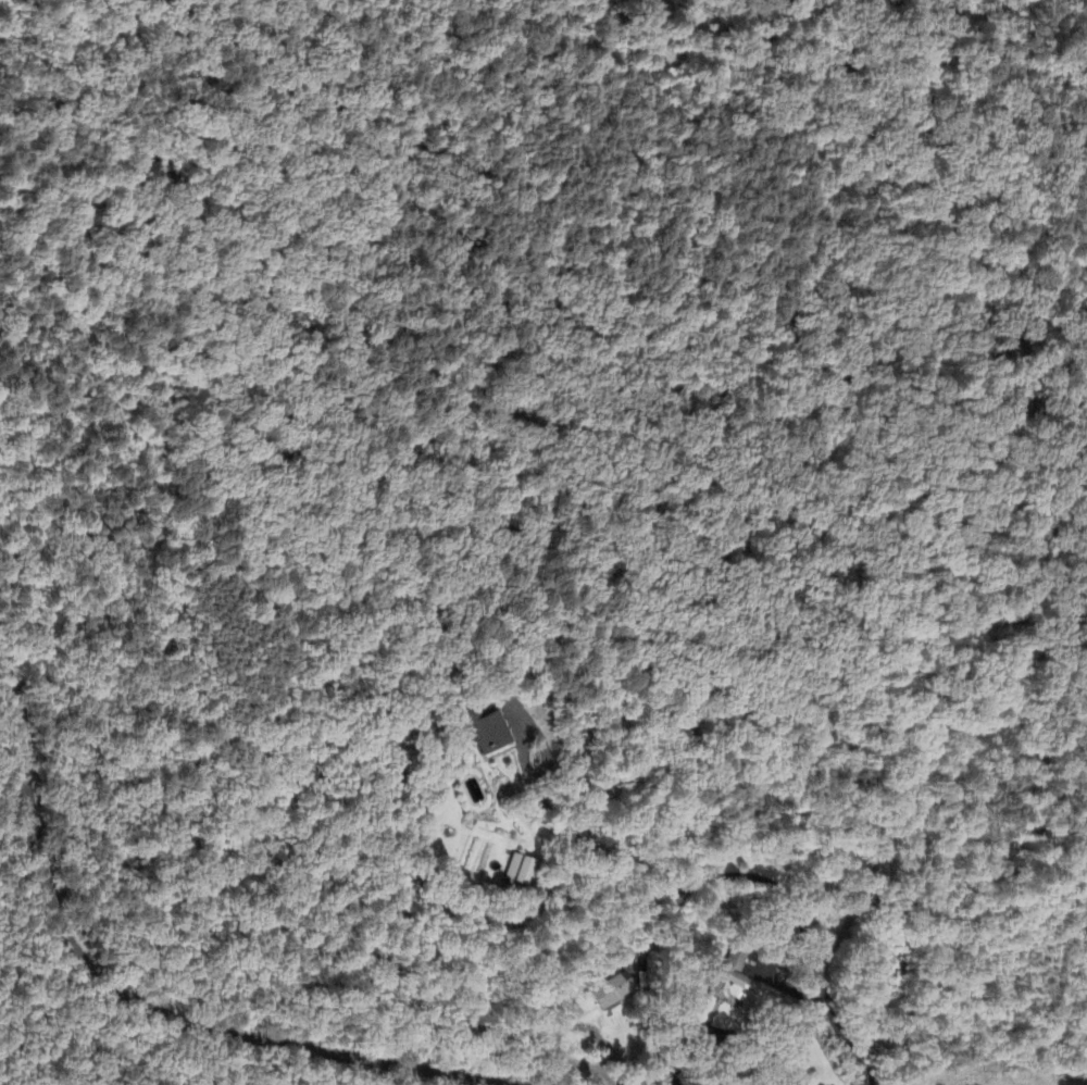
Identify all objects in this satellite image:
building: (483, 733)
road: (529, 733)
road: (852, 791)
building: (516, 872)
road: (750, 876)
road: (665, 924)
road: (782, 953)
building: (730, 980)
building: (608, 994)
road: (128, 998)
road: (747, 1024)

